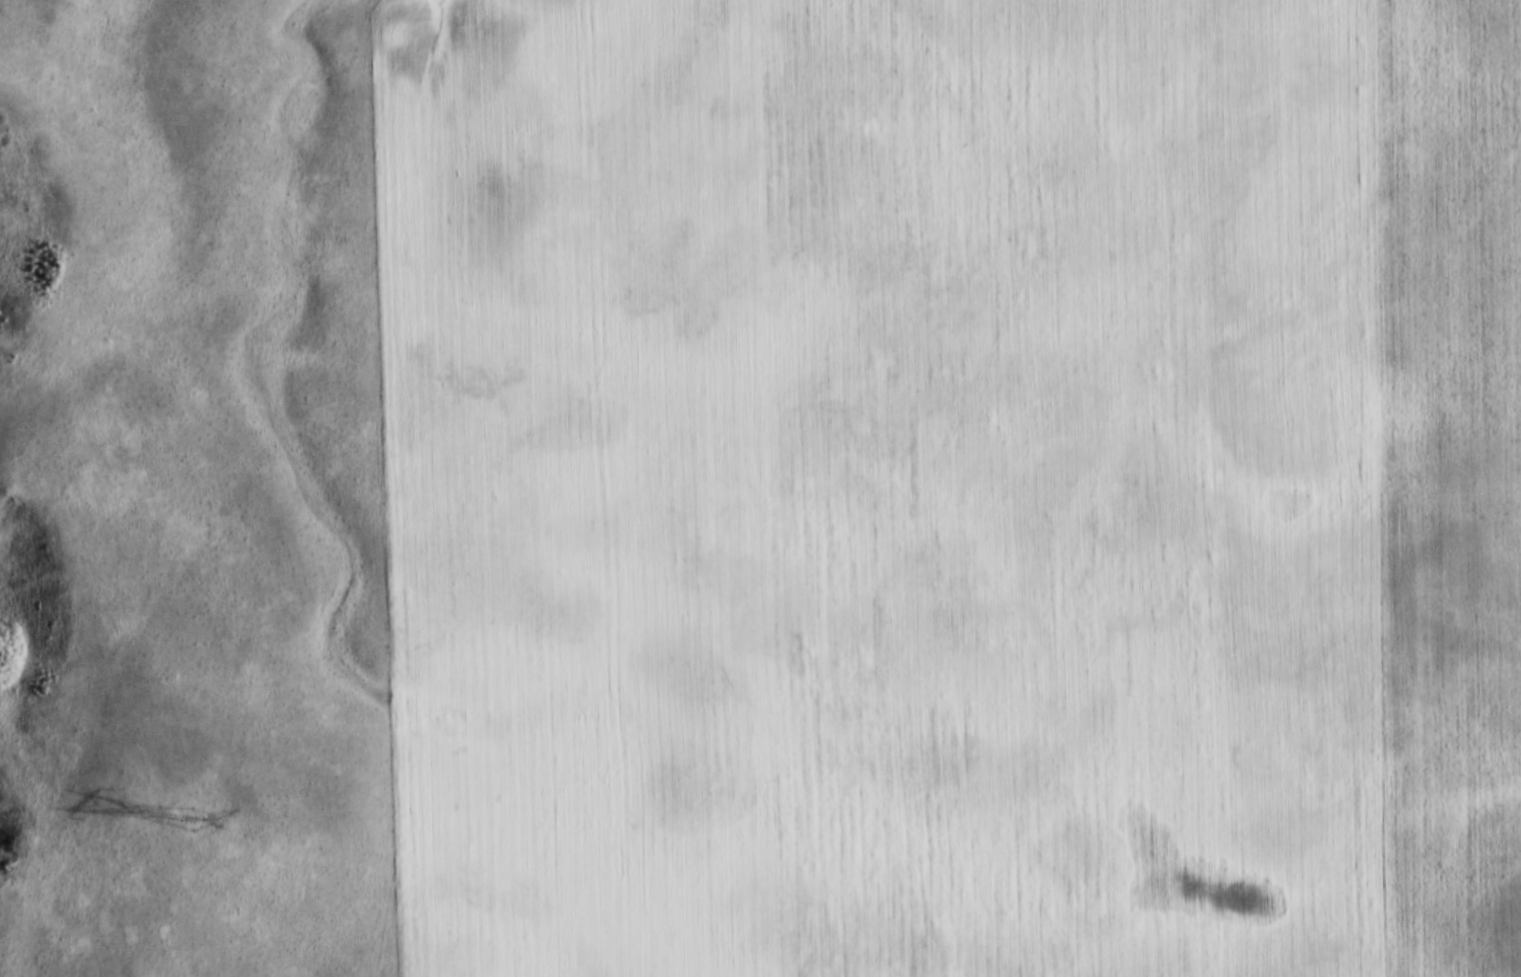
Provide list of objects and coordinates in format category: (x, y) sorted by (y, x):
power tower: (184, 826)

